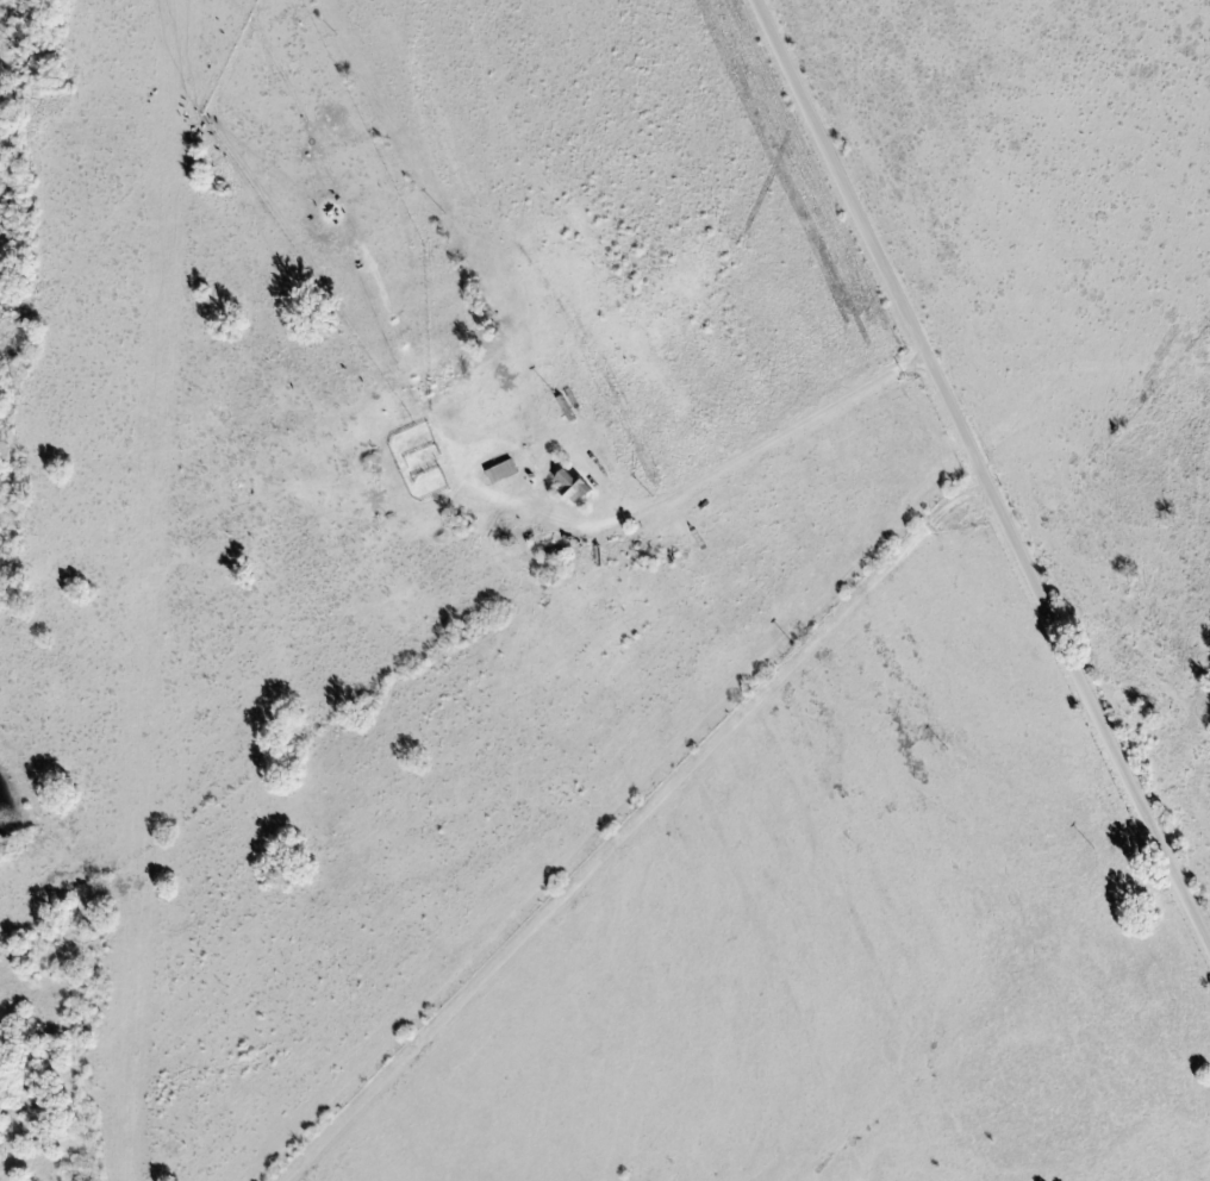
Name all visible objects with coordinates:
road: (983, 467)
road: (484, 557)

